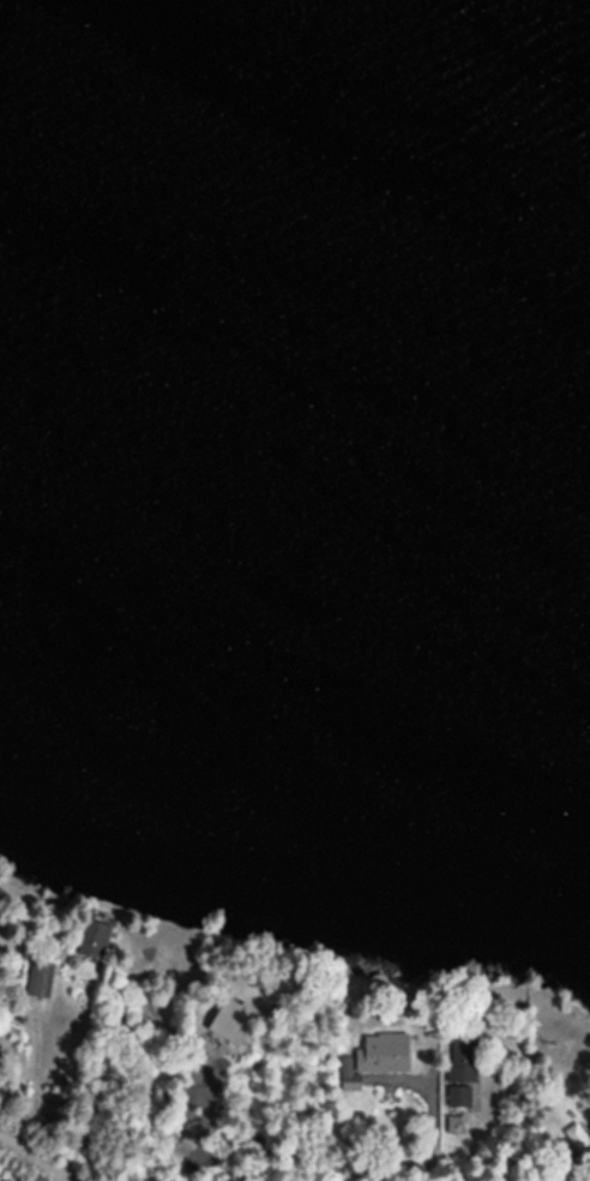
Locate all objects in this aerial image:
building: (84, 937)
building: (35, 978)
building: (233, 1020)
building: (369, 1059)
building: (456, 1069)
building: (576, 1135)
road: (38, 1157)

